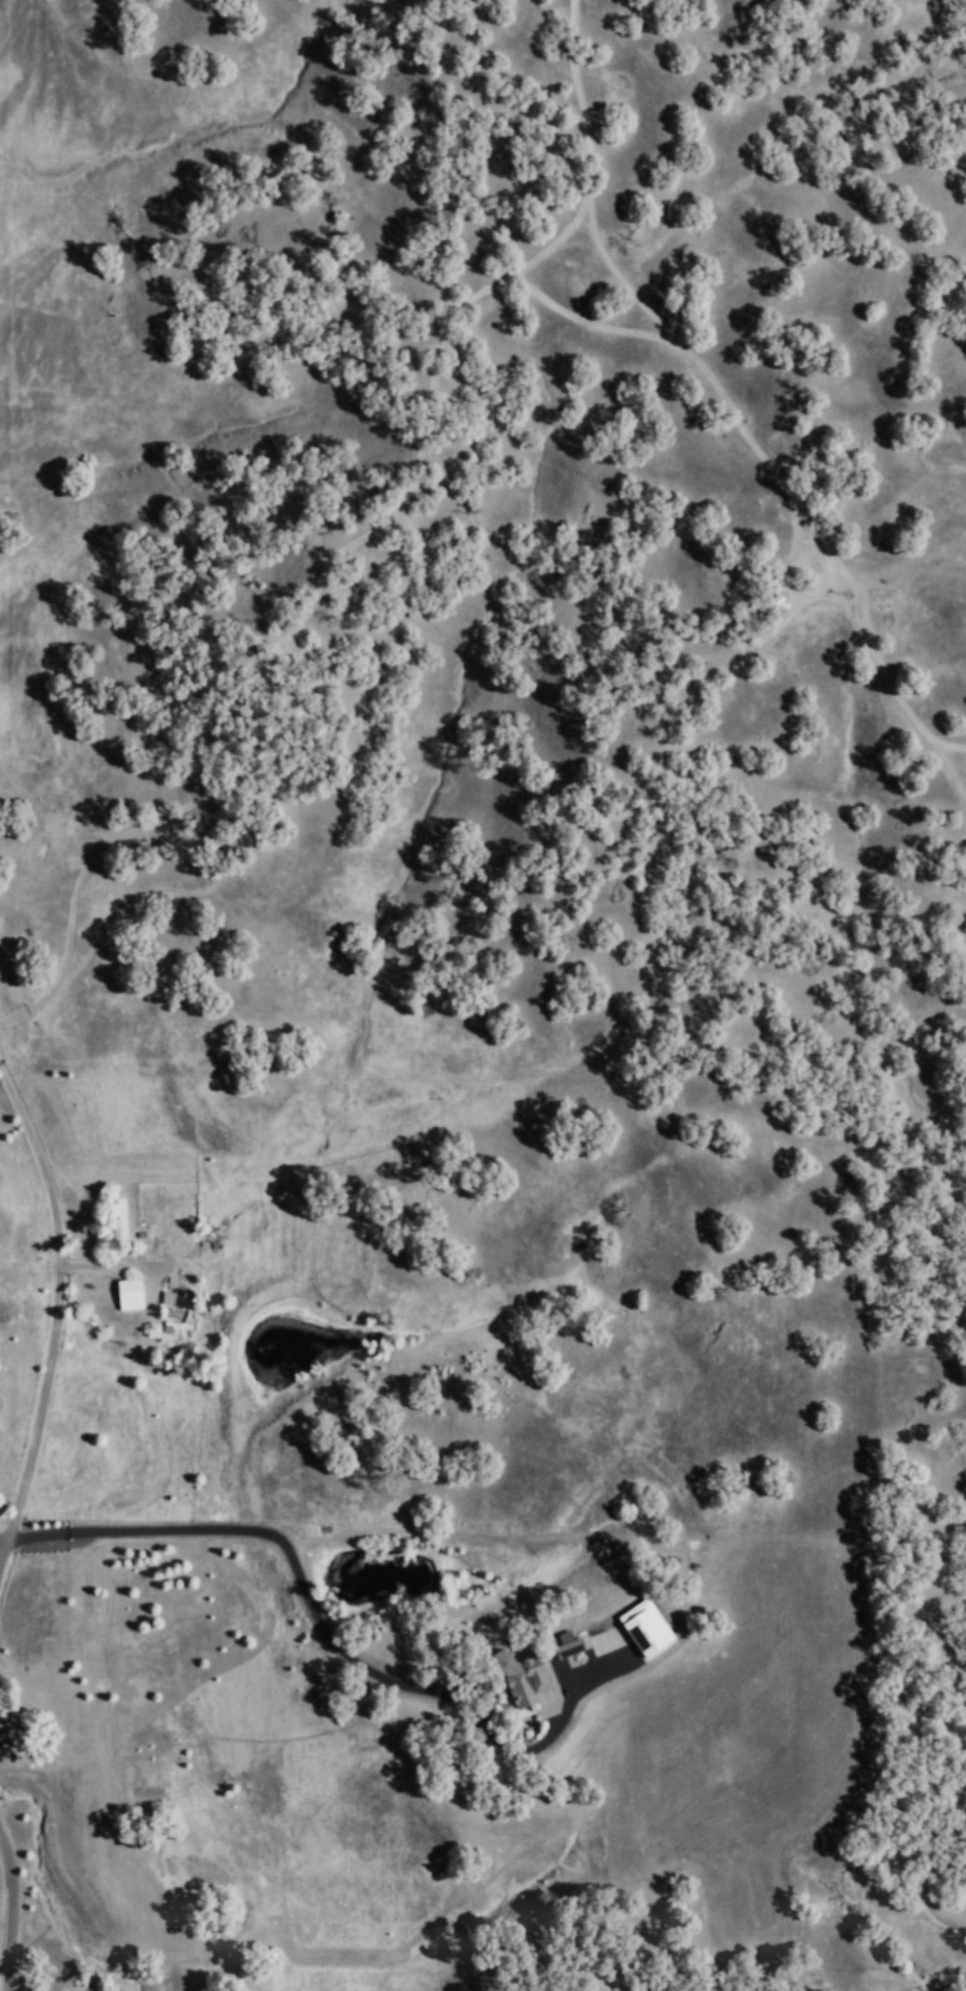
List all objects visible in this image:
road: (548, 247)
road: (727, 409)
road: (304, 586)
road: (181, 893)
building: (130, 1293)
road: (55, 1306)
building: (180, 1323)
road: (266, 1531)
building: (641, 1626)
building: (565, 1643)
building: (592, 1656)
building: (523, 1683)
road: (8, 1909)

